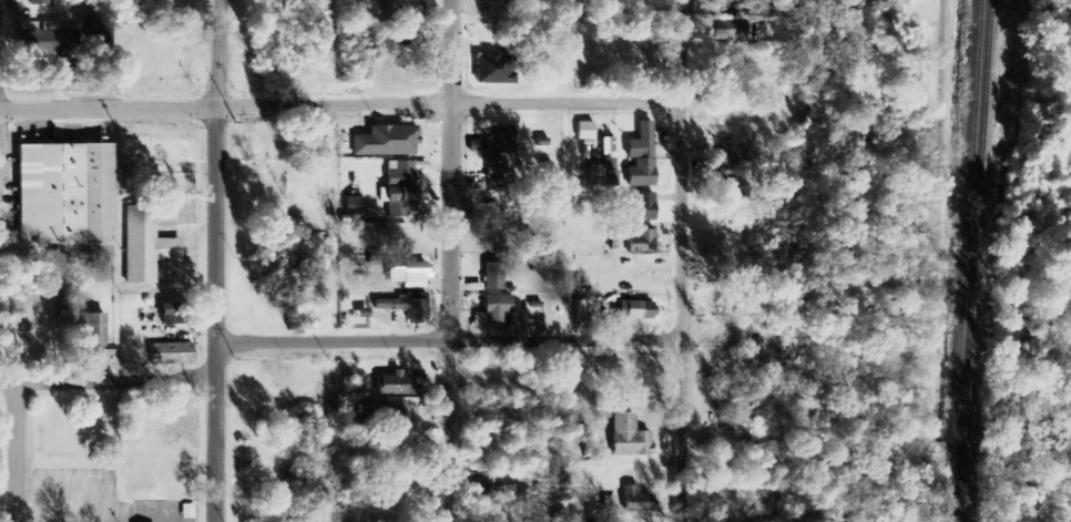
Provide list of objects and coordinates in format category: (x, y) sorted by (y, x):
building: (39, 2)
building: (400, 9)
building: (727, 30)
building: (404, 39)
building: (42, 43)
road: (216, 52)
building: (490, 70)
road: (447, 103)
road: (108, 105)
building: (584, 132)
building: (498, 141)
building: (386, 142)
building: (475, 147)
building: (731, 157)
building: (640, 158)
building: (496, 175)
building: (601, 177)
building: (399, 188)
building: (64, 198)
building: (355, 206)
building: (641, 207)
road: (939, 234)
building: (642, 242)
building: (144, 248)
road: (449, 260)
road: (679, 260)
railway: (961, 260)
railway: (972, 260)
building: (408, 275)
building: (494, 277)
building: (405, 306)
building: (492, 311)
building: (637, 311)
road: (215, 314)
building: (93, 336)
road: (447, 339)
building: (170, 355)
road: (114, 381)
building: (394, 385)
building: (373, 414)
building: (628, 438)
road: (14, 441)
road: (806, 473)
building: (636, 500)

